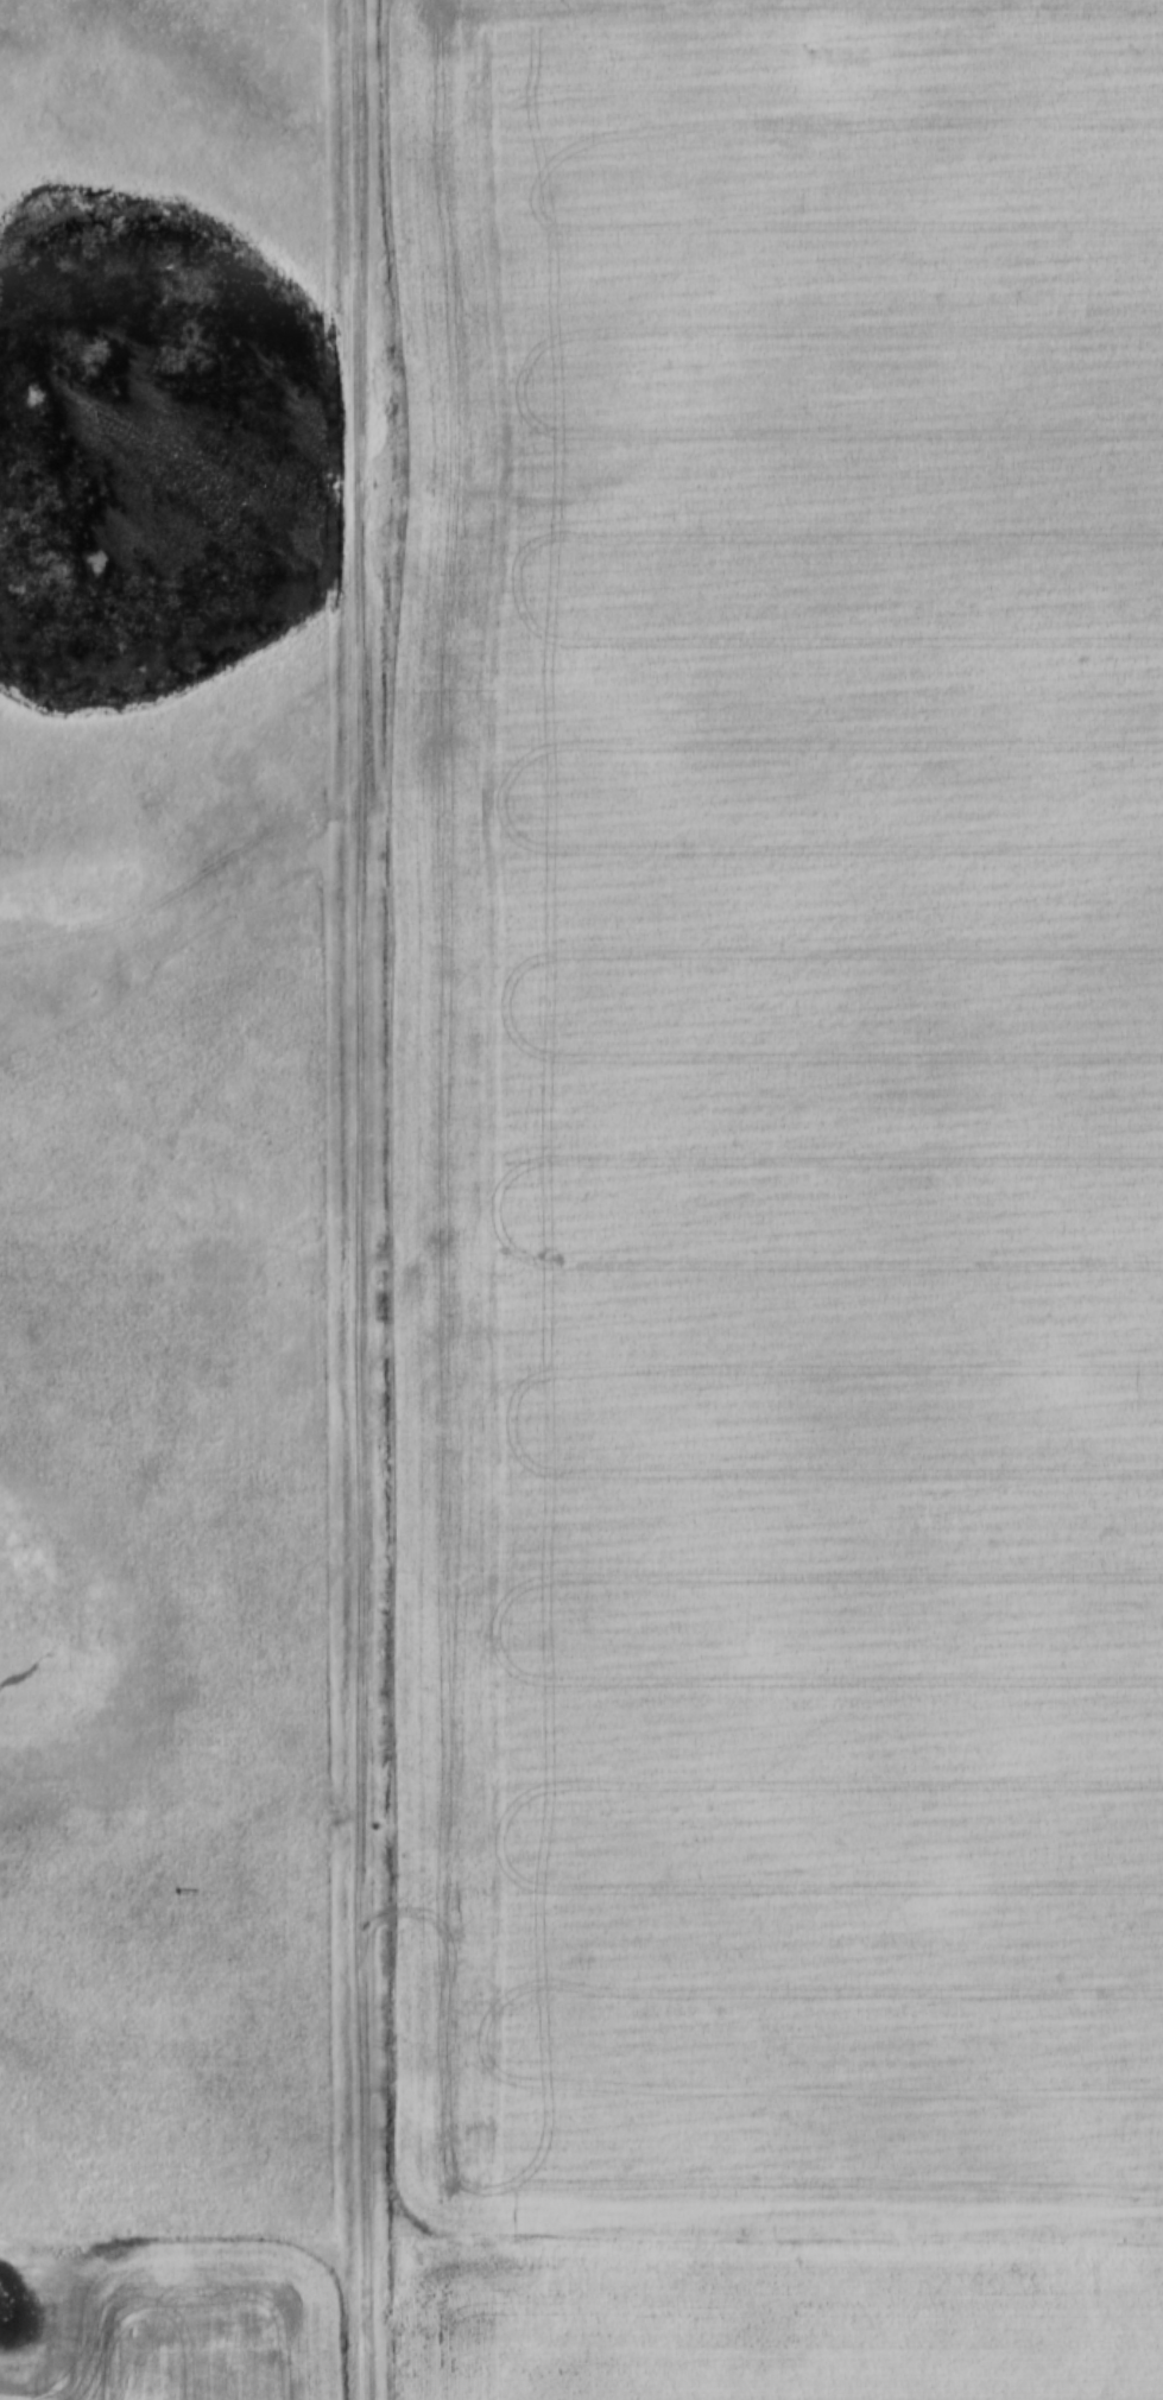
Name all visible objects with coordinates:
road: (364, 1199)

